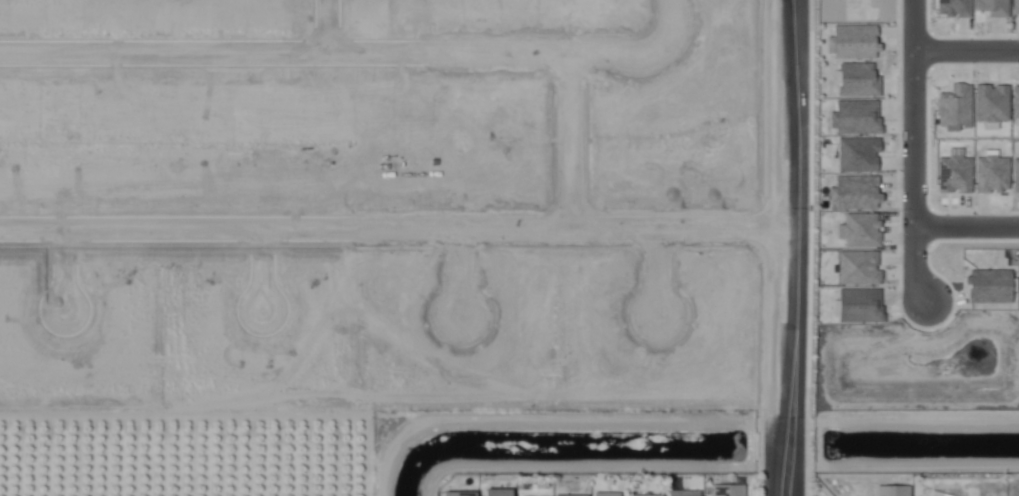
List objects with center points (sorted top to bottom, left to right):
building: (1015, 6)
building: (993, 7)
building: (953, 8)
road: (330, 23)
road: (669, 27)
building: (852, 41)
road: (334, 47)
road: (968, 50)
building: (856, 79)
building: (990, 103)
building: (1015, 103)
building: (954, 106)
building: (854, 117)
road: (573, 141)
road: (918, 151)
building: (857, 154)
building: (954, 172)
building: (991, 172)
building: (1015, 174)
building: (854, 192)
road: (790, 199)
road: (395, 230)
building: (859, 230)
road: (968, 232)
building: (857, 267)
road: (258, 273)
road: (63, 275)
road: (462, 275)
road: (658, 279)
building: (988, 286)
building: (858, 305)
road: (789, 447)
building: (730, 491)
building: (893, 491)
building: (504, 493)
building: (682, 493)
building: (466, 494)
building: (607, 494)
building: (938, 494)
building: (561, 495)
building: (647, 495)

